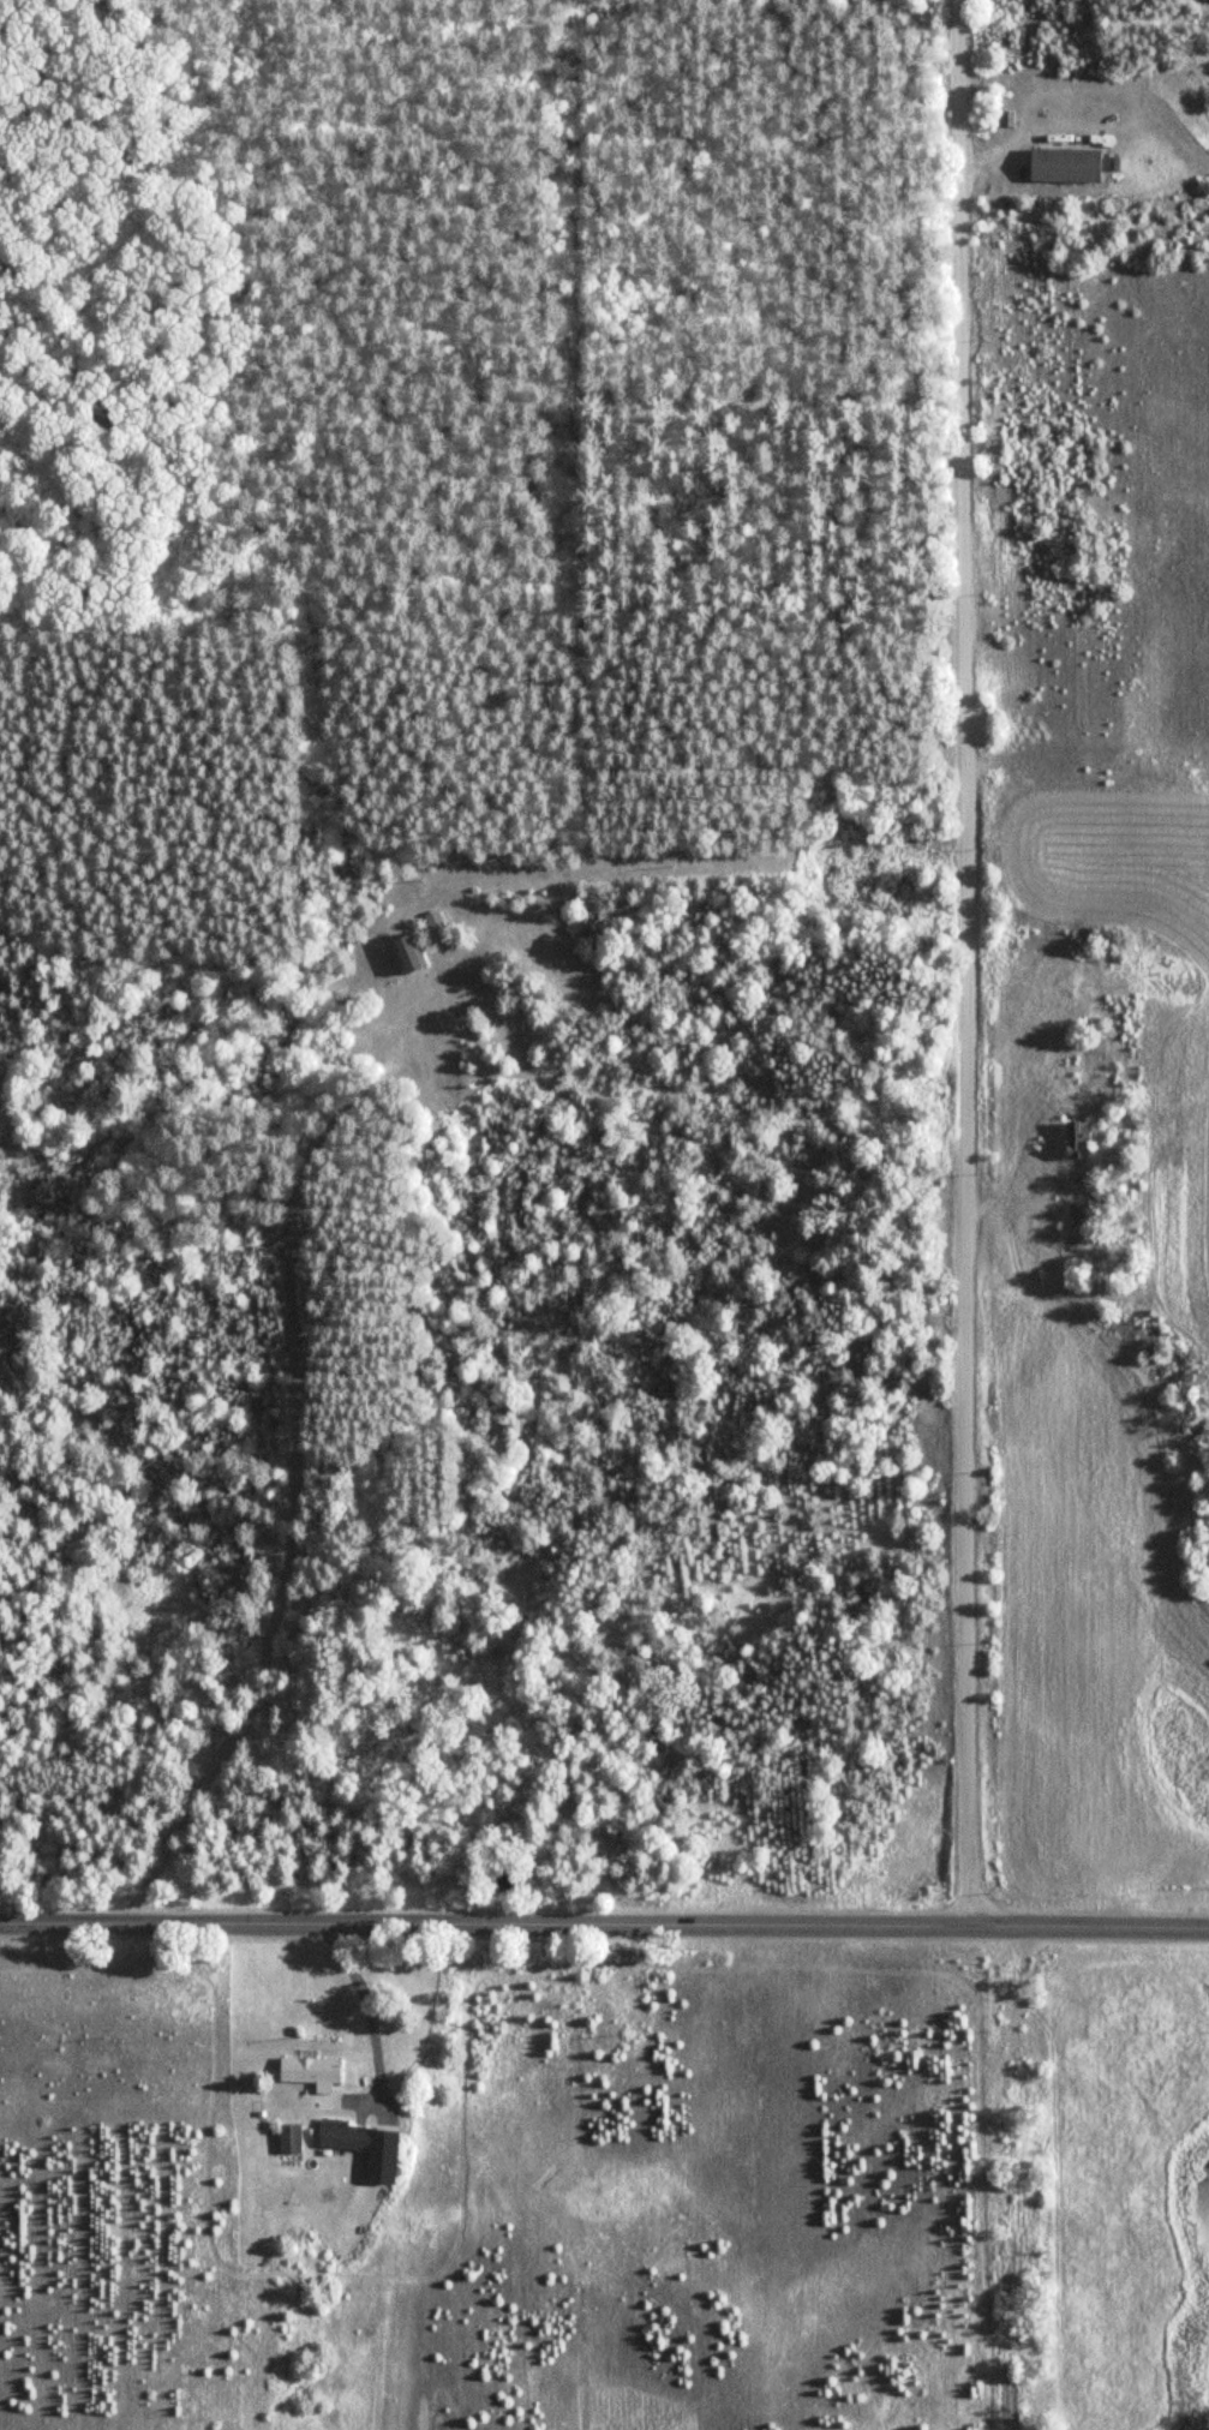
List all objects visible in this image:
building: (1065, 164)
building: (408, 951)
road: (965, 960)
building: (1078, 1138)
road: (604, 1920)
building: (311, 2069)
building: (291, 2137)
building: (365, 2145)

